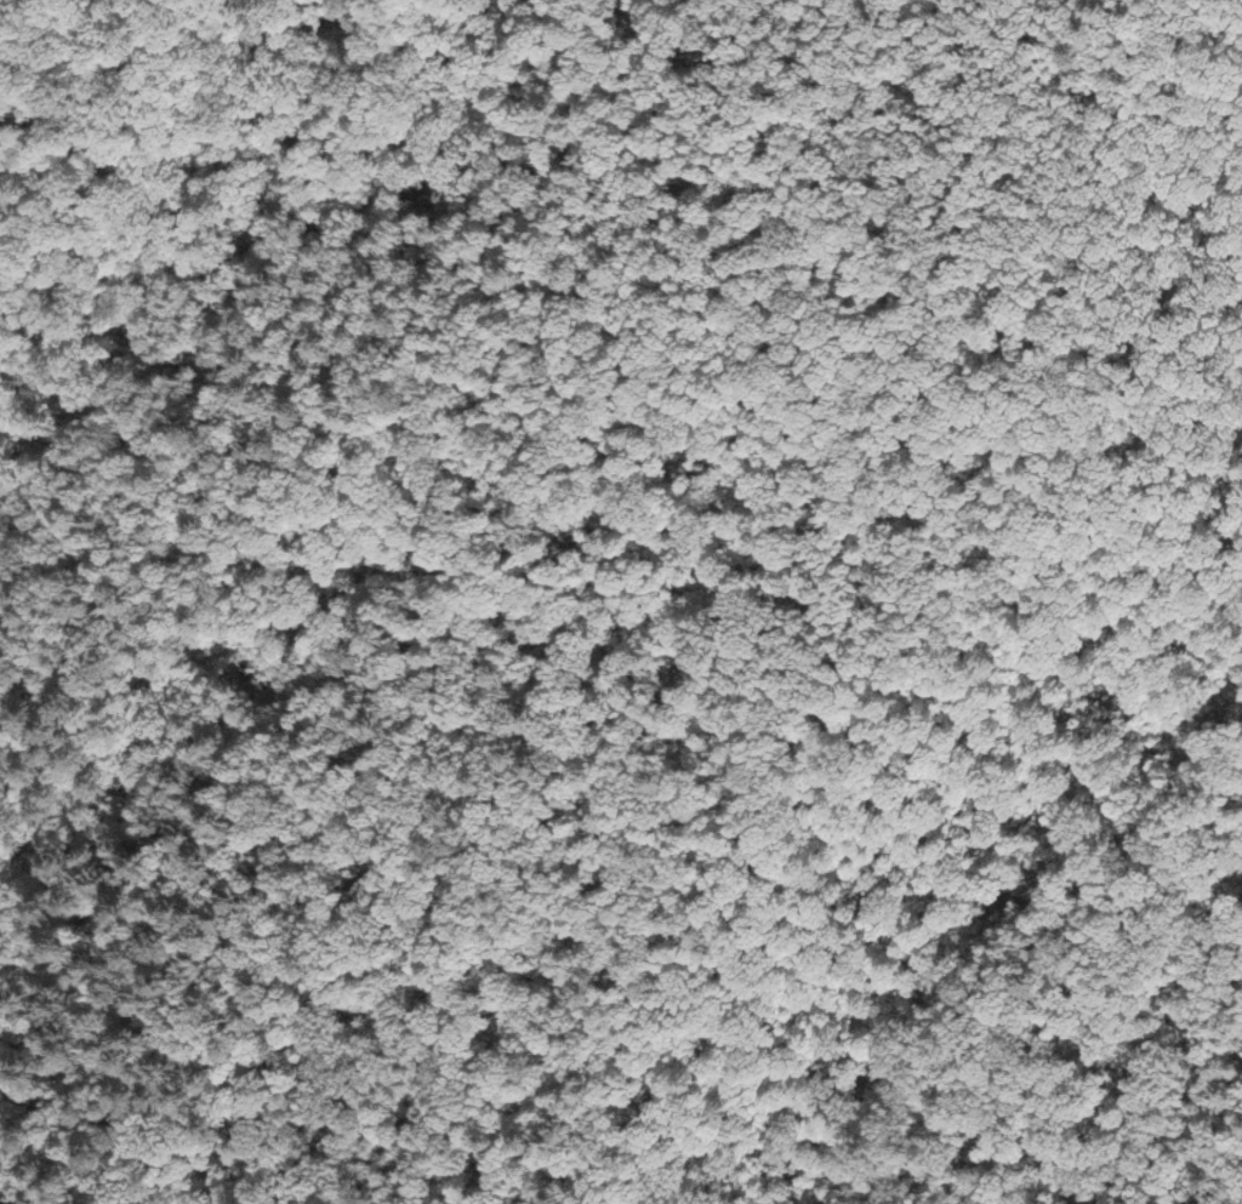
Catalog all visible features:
road: (873, 1037)
road: (1075, 1196)

